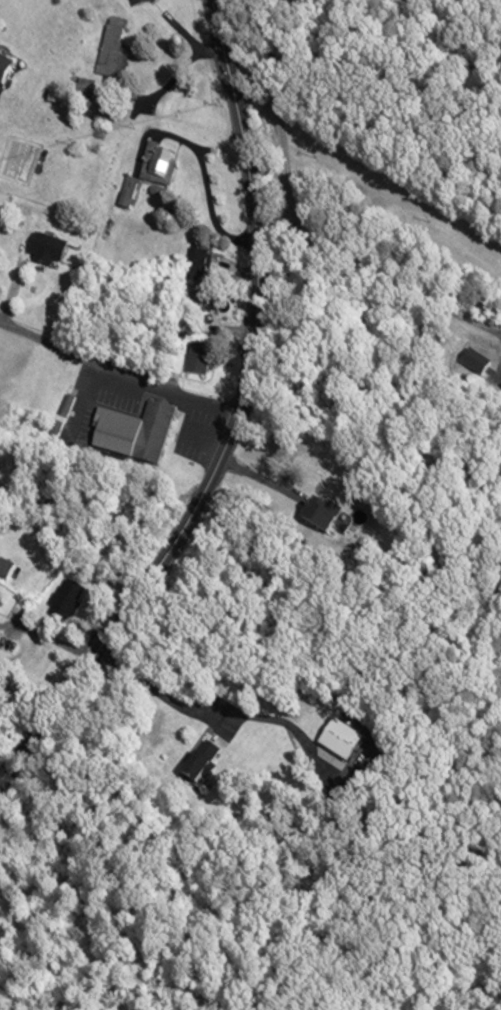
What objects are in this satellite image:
building: (139, 3)
road: (468, 14)
building: (108, 50)
building: (3, 74)
building: (83, 91)
building: (155, 166)
building: (125, 194)
road: (307, 244)
building: (44, 252)
building: (194, 267)
building: (195, 359)
road: (118, 369)
road: (234, 427)
building: (139, 438)
road: (268, 476)
building: (3, 569)
building: (63, 603)
road: (53, 637)
road: (220, 650)
building: (337, 743)
building: (198, 763)

